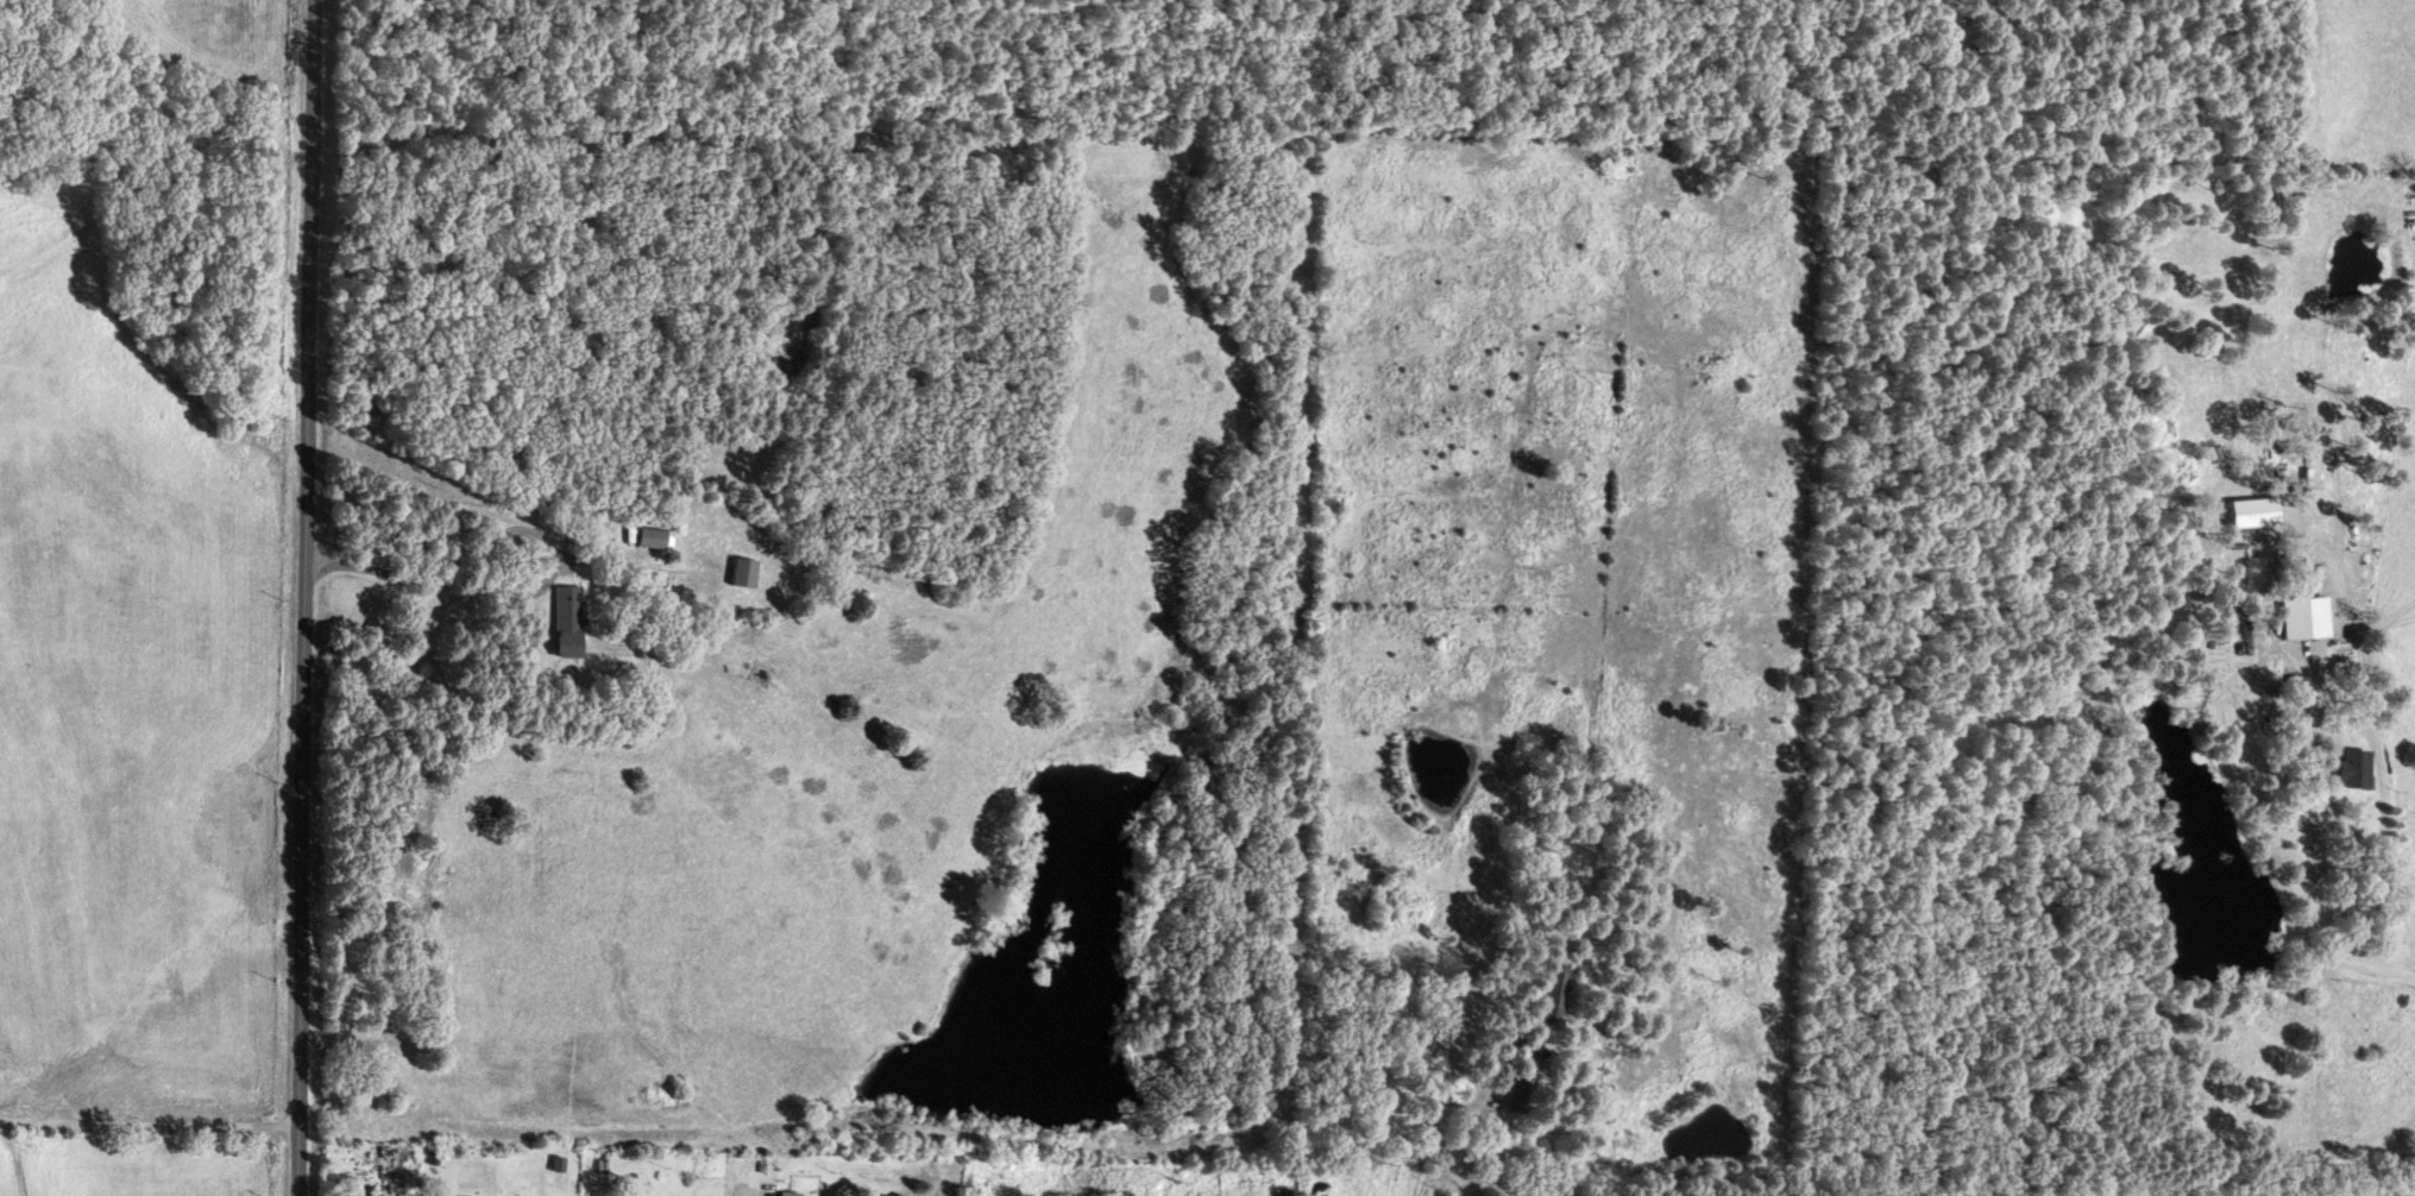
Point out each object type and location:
building: (2252, 512)
building: (666, 537)
building: (757, 572)
road: (303, 597)
building: (2307, 617)
building: (579, 622)
building: (2357, 768)
building: (1552, 993)
road: (147, 1129)
building: (795, 1192)
building: (360, 1195)

